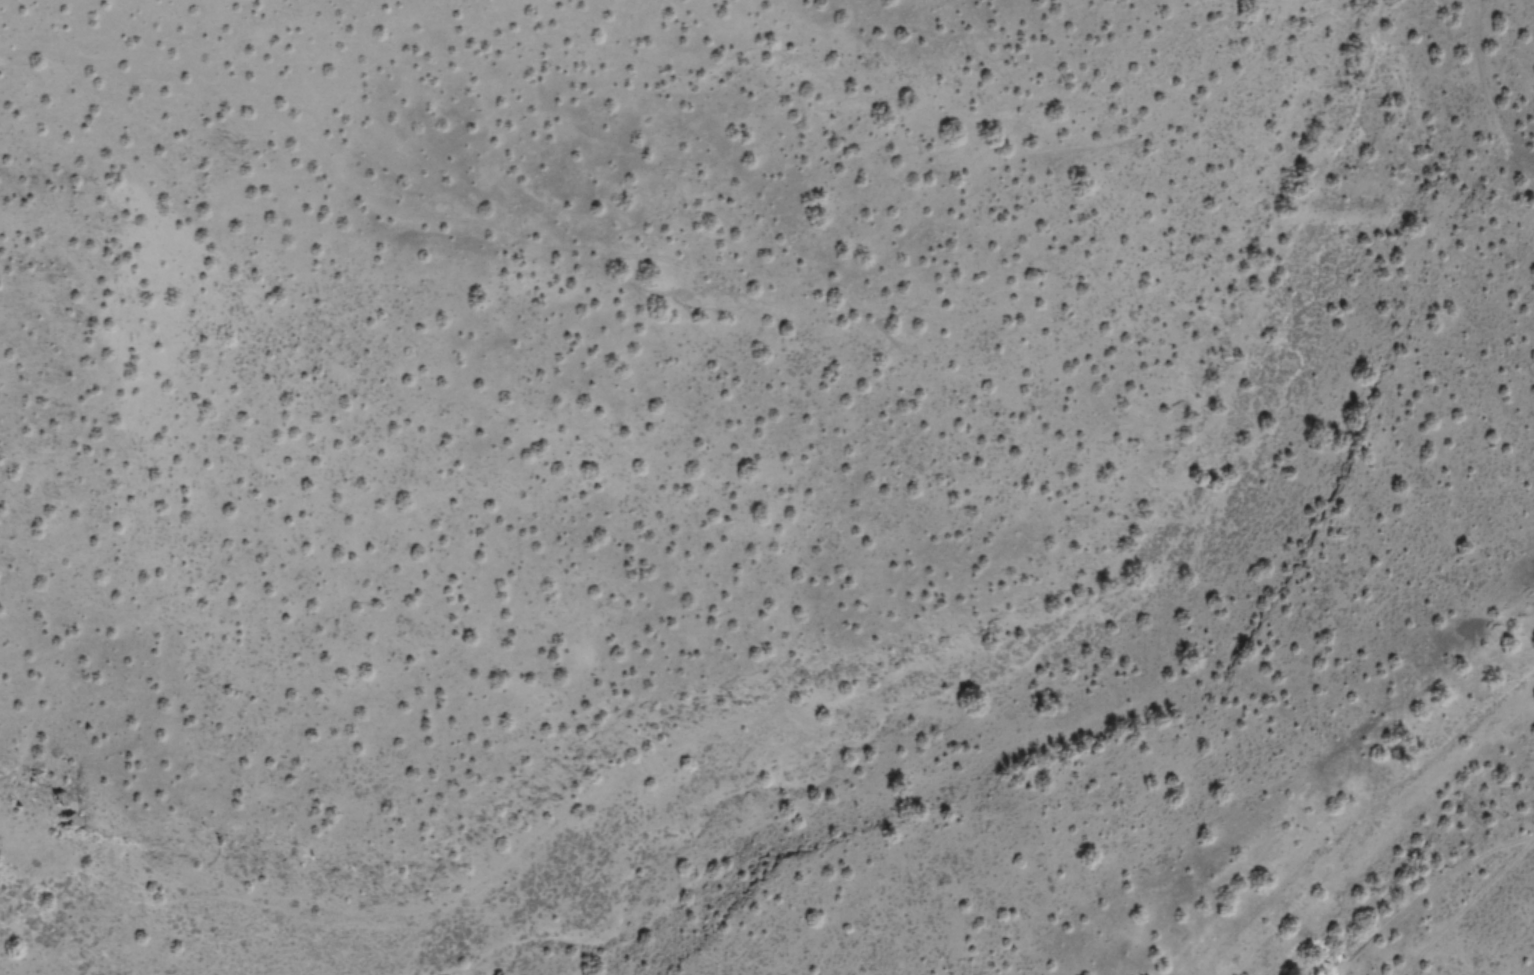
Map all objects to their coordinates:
crop: (1470, 931)

